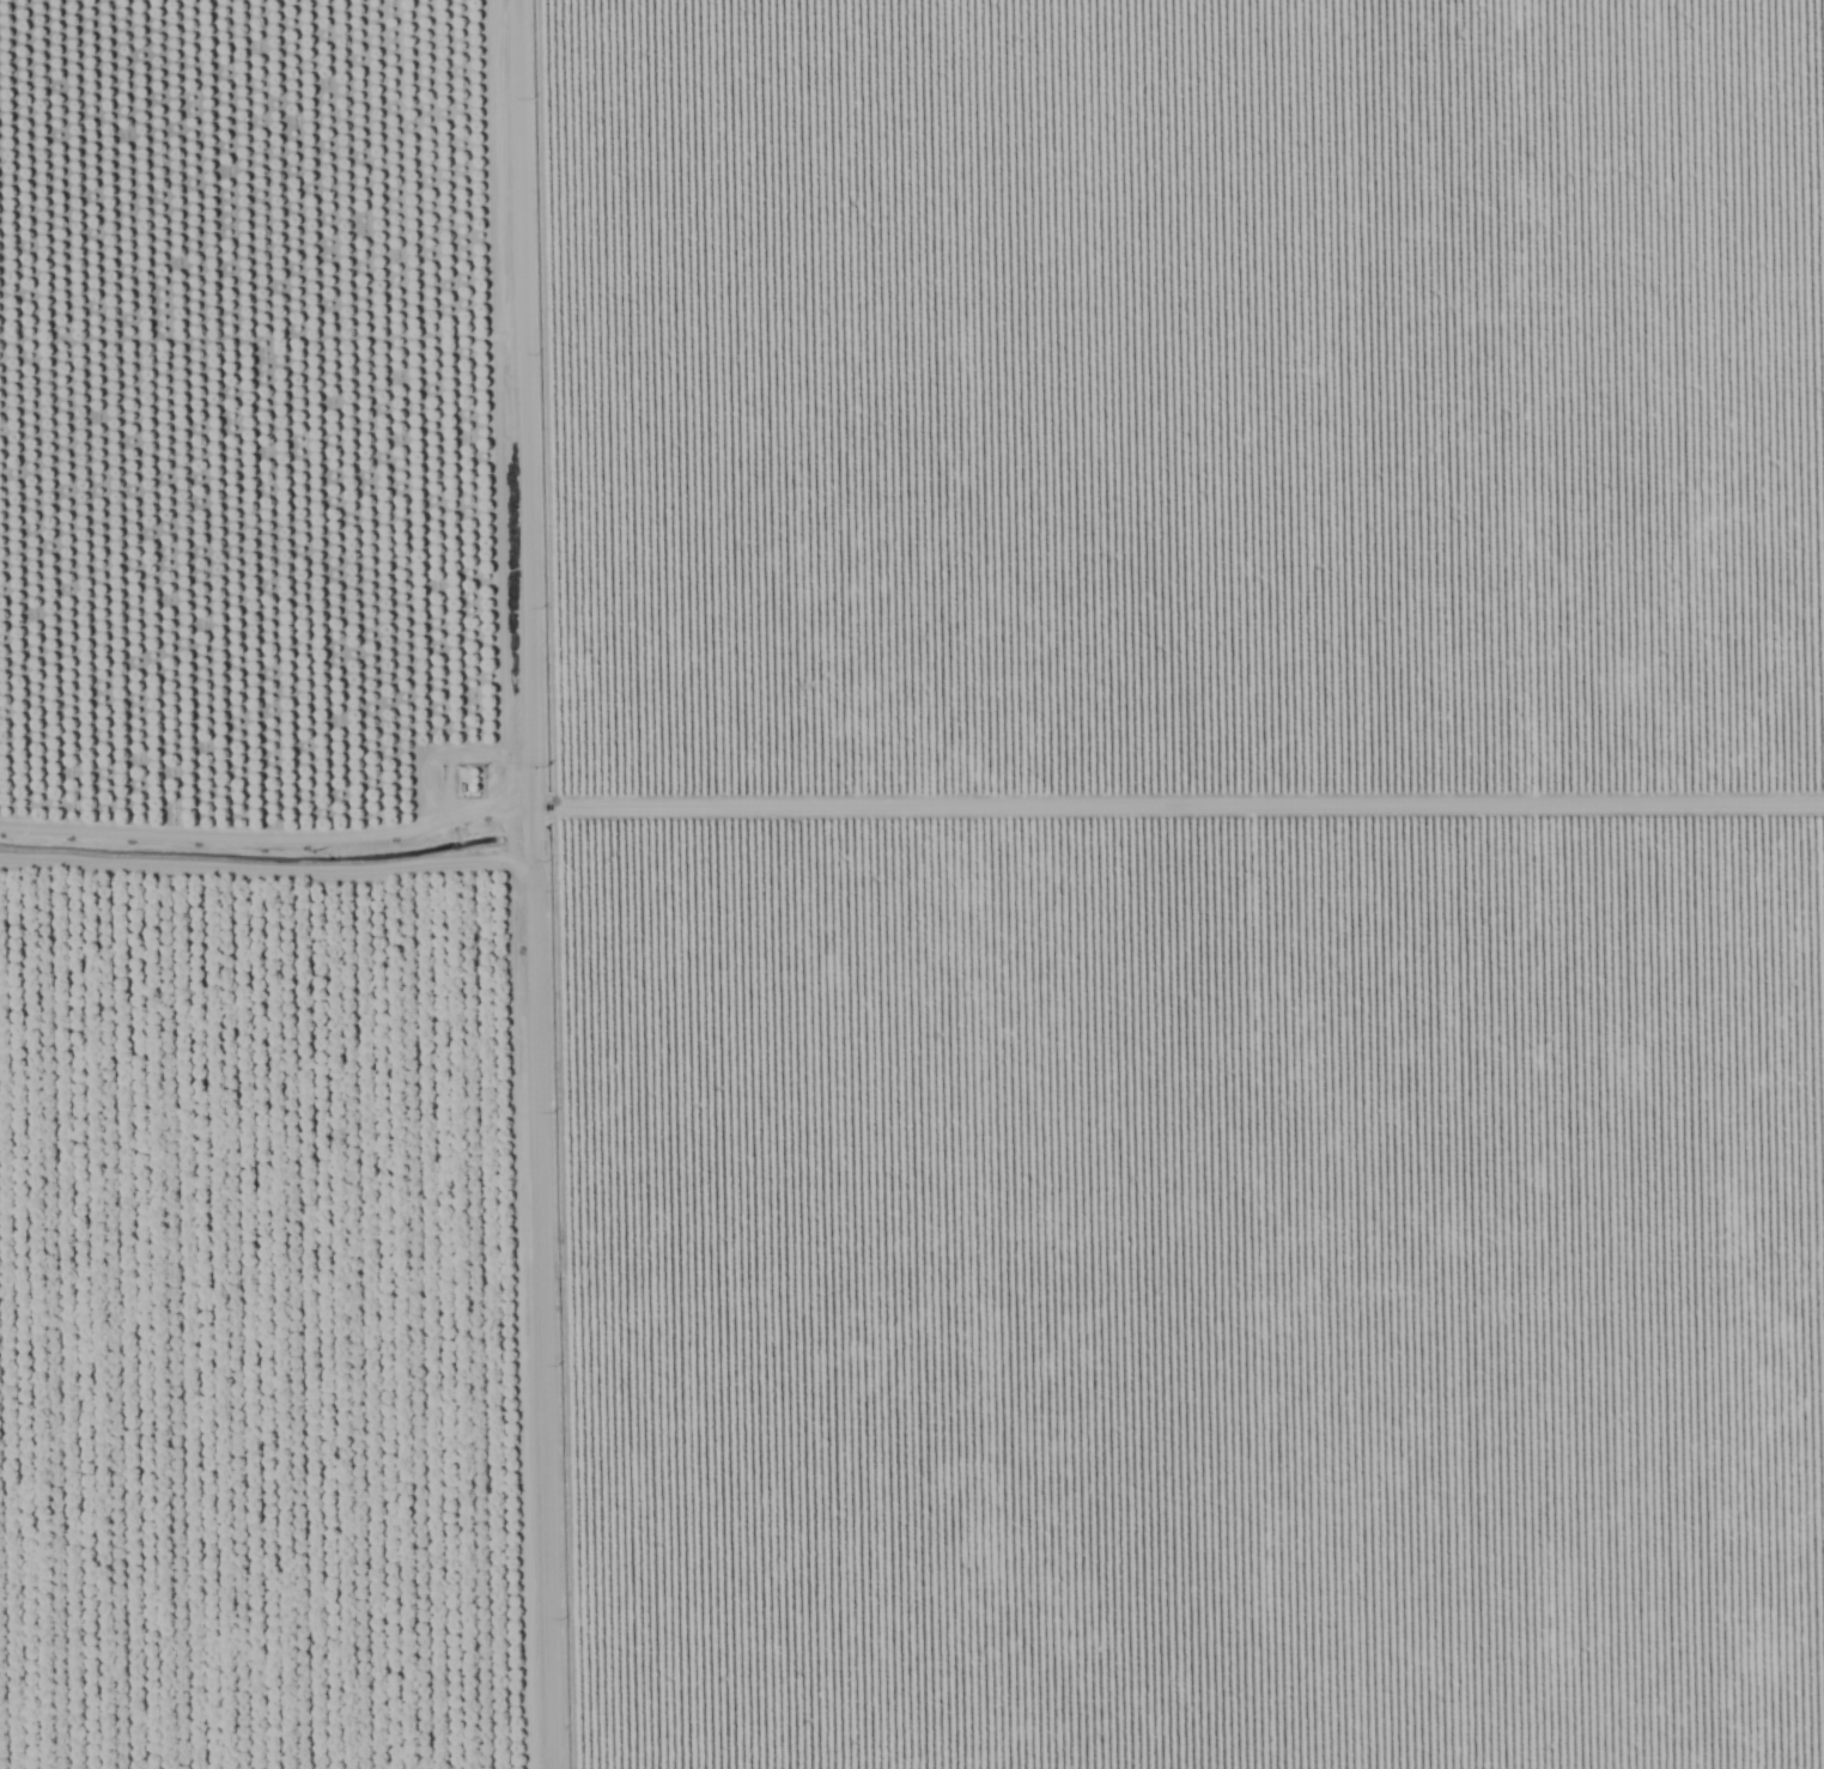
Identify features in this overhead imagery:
crop: (233, 411)
crop: (256, 1329)

